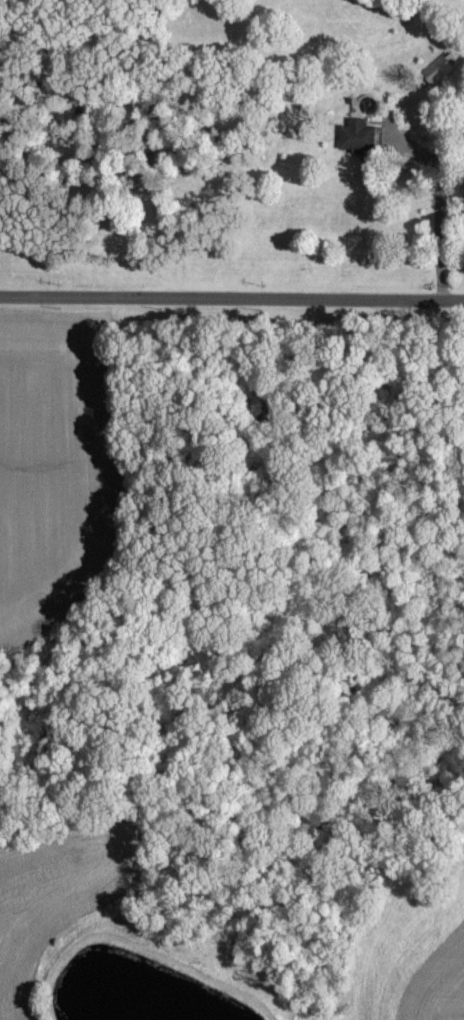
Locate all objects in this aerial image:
building: (439, 67)
building: (356, 135)
road: (438, 226)
road: (231, 307)

